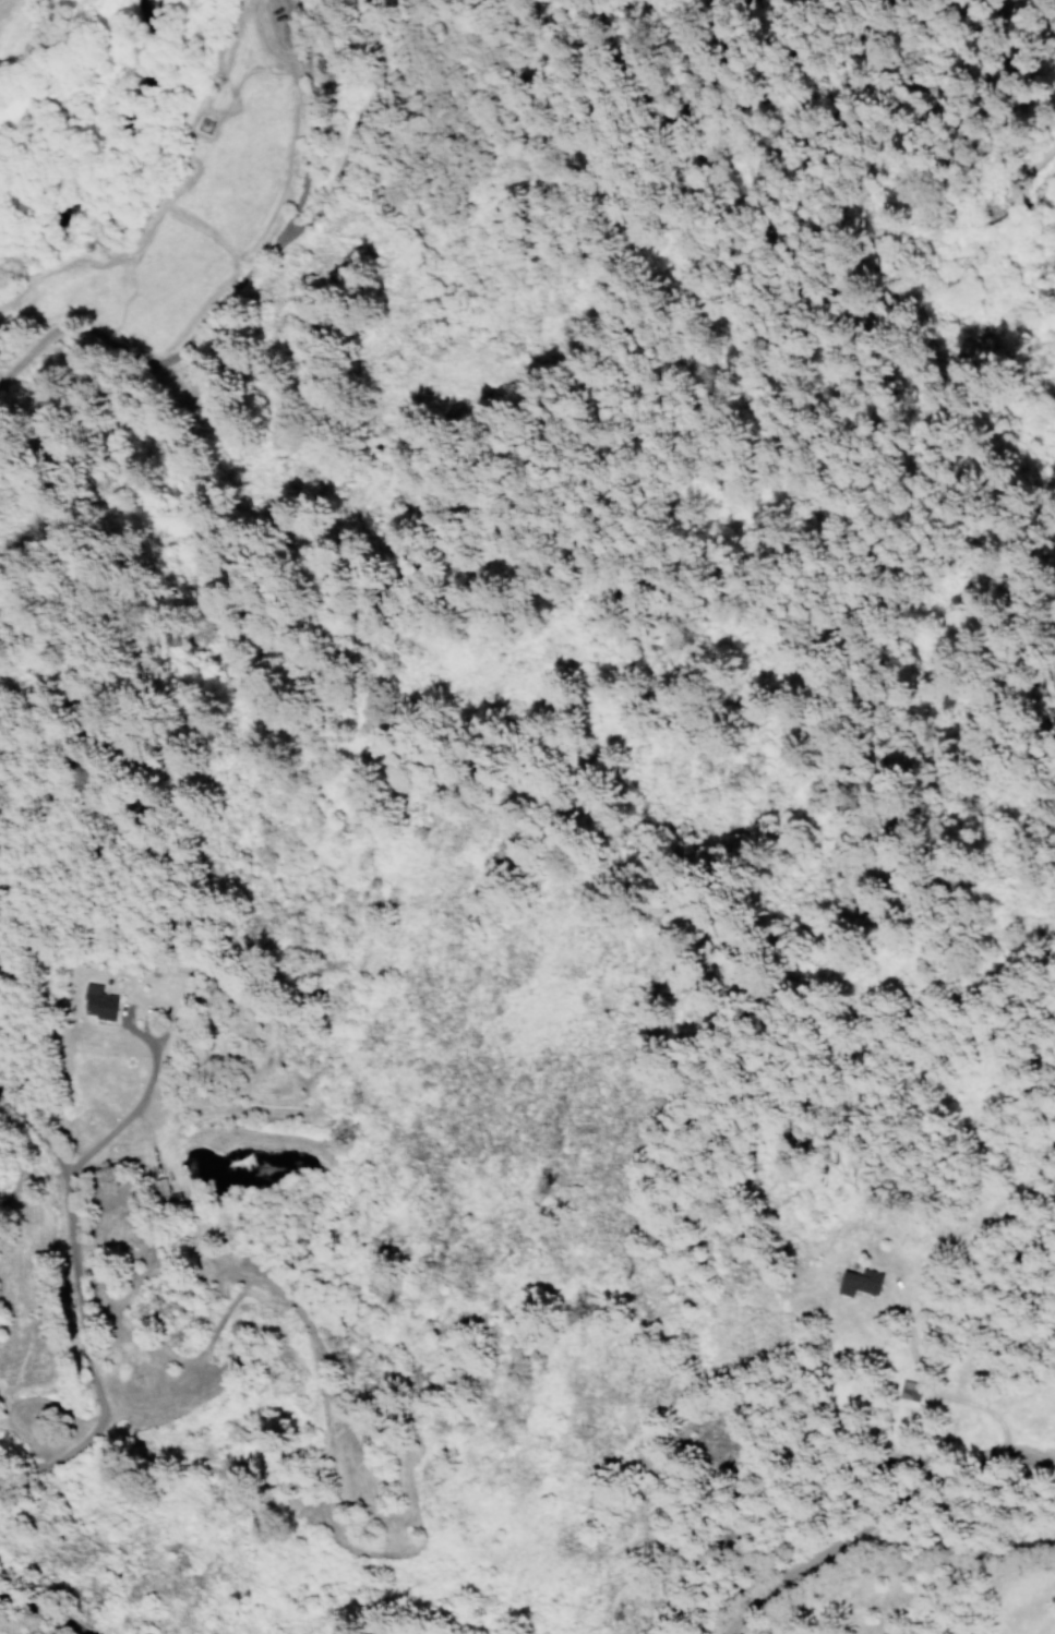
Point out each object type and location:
road: (237, 283)
building: (100, 1002)
road: (130, 1097)
building: (161, 1187)
building: (863, 1282)
road: (72, 1295)
building: (910, 1389)
road: (878, 1517)
road: (44, 1614)

